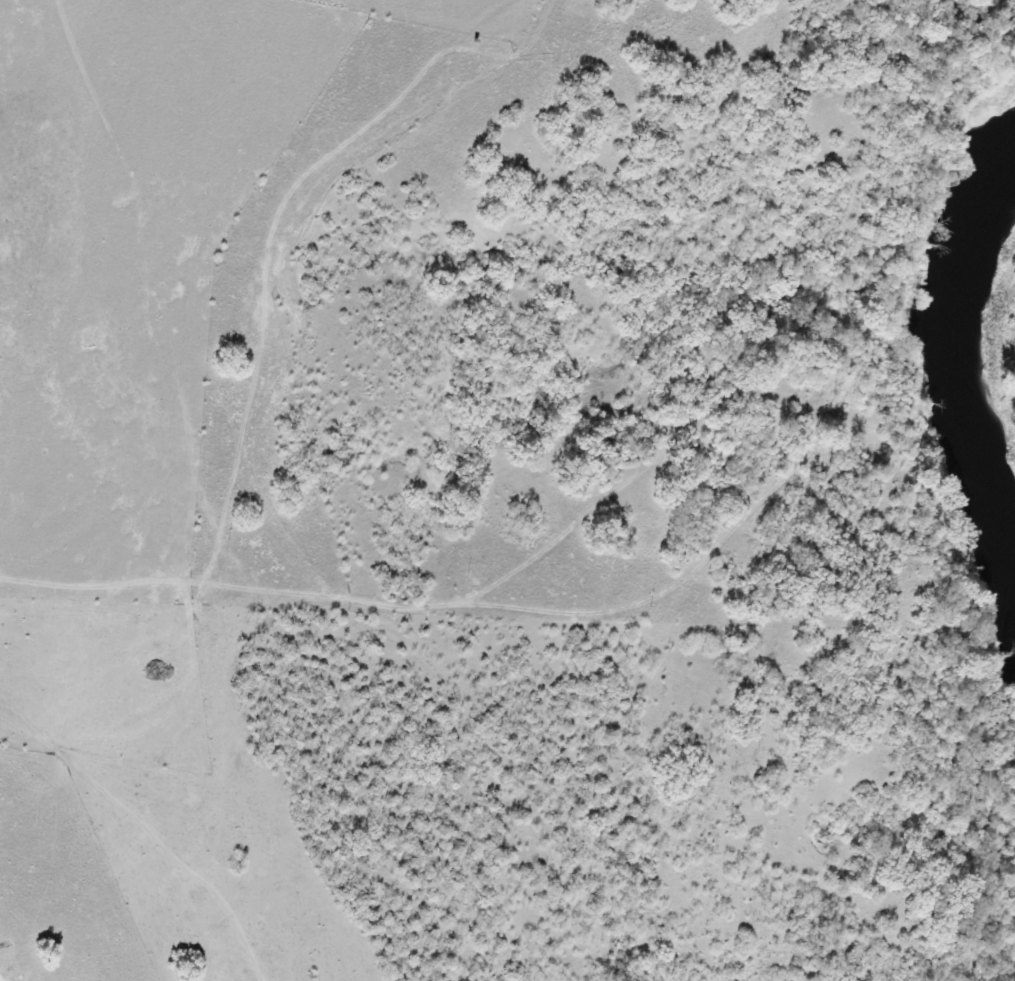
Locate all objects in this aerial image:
river: (961, 357)

